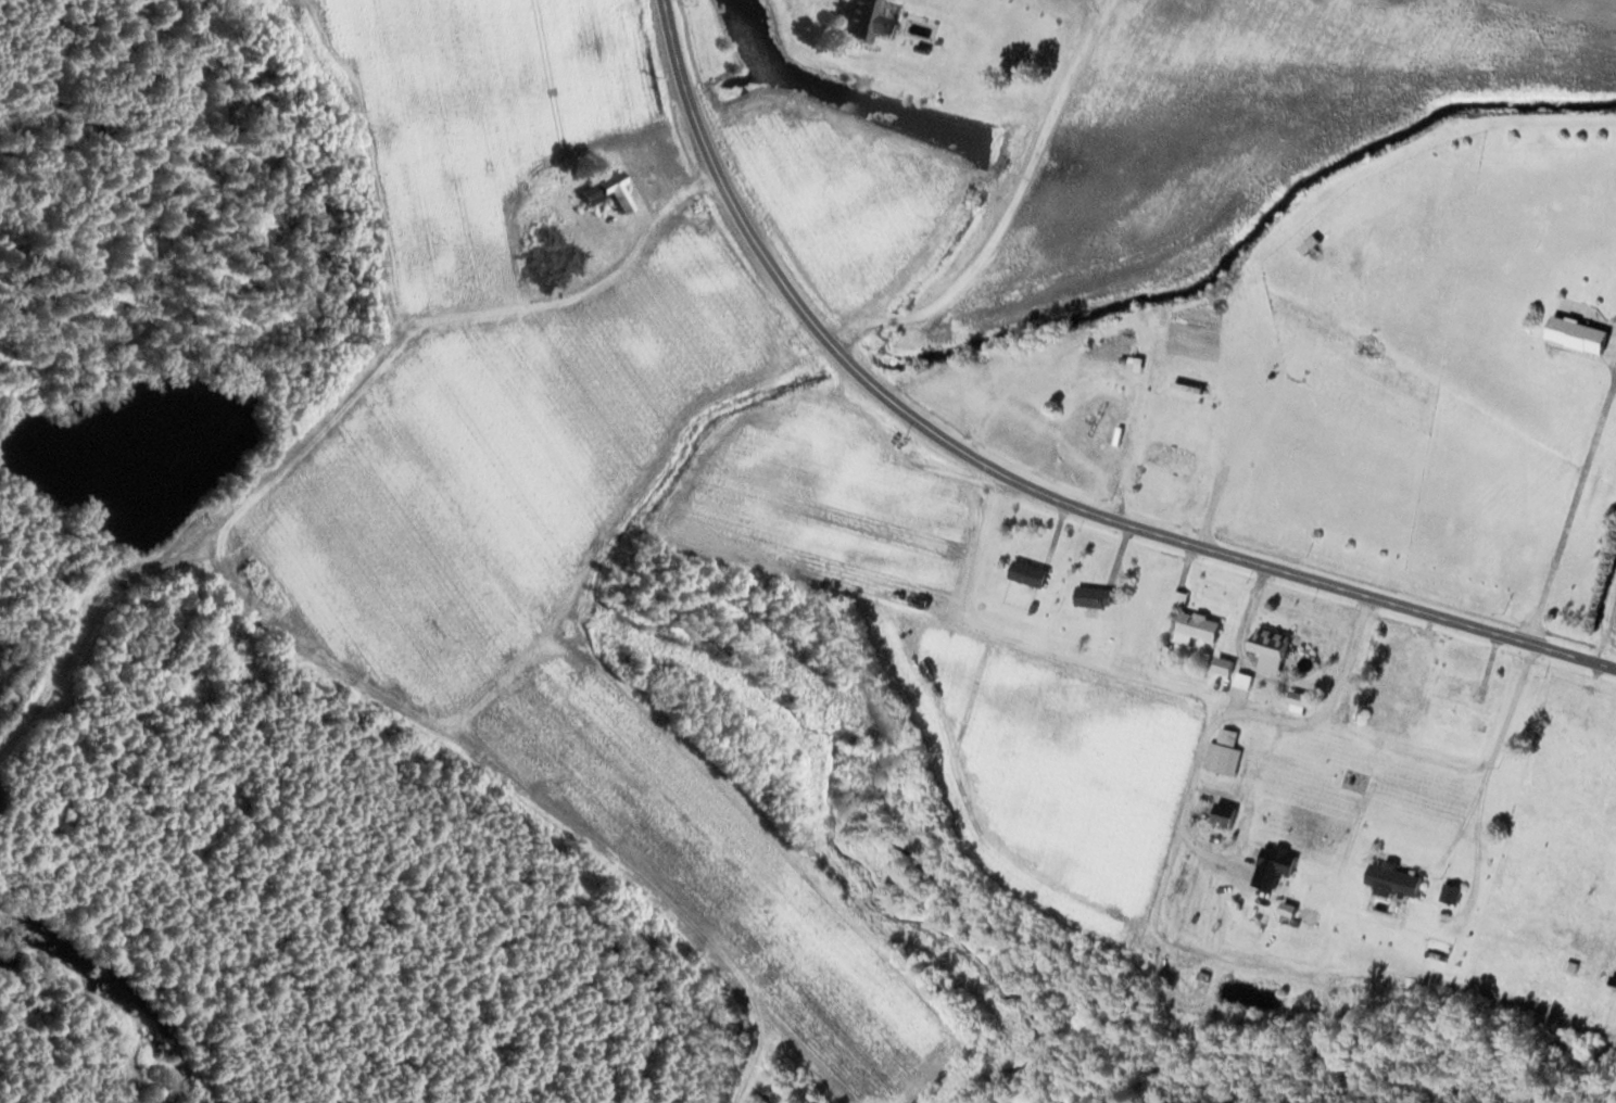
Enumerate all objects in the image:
building: (866, 20)
building: (613, 192)
building: (1583, 334)
building: (1204, 342)
building: (1177, 457)
building: (1116, 459)
road: (1021, 483)
building: (1034, 573)
building: (1098, 596)
building: (1201, 627)
building: (1276, 638)
building: (1400, 674)
building: (1472, 690)
building: (1226, 759)
building: (1202, 808)
building: (1235, 814)
building: (1398, 878)
building: (1454, 893)

